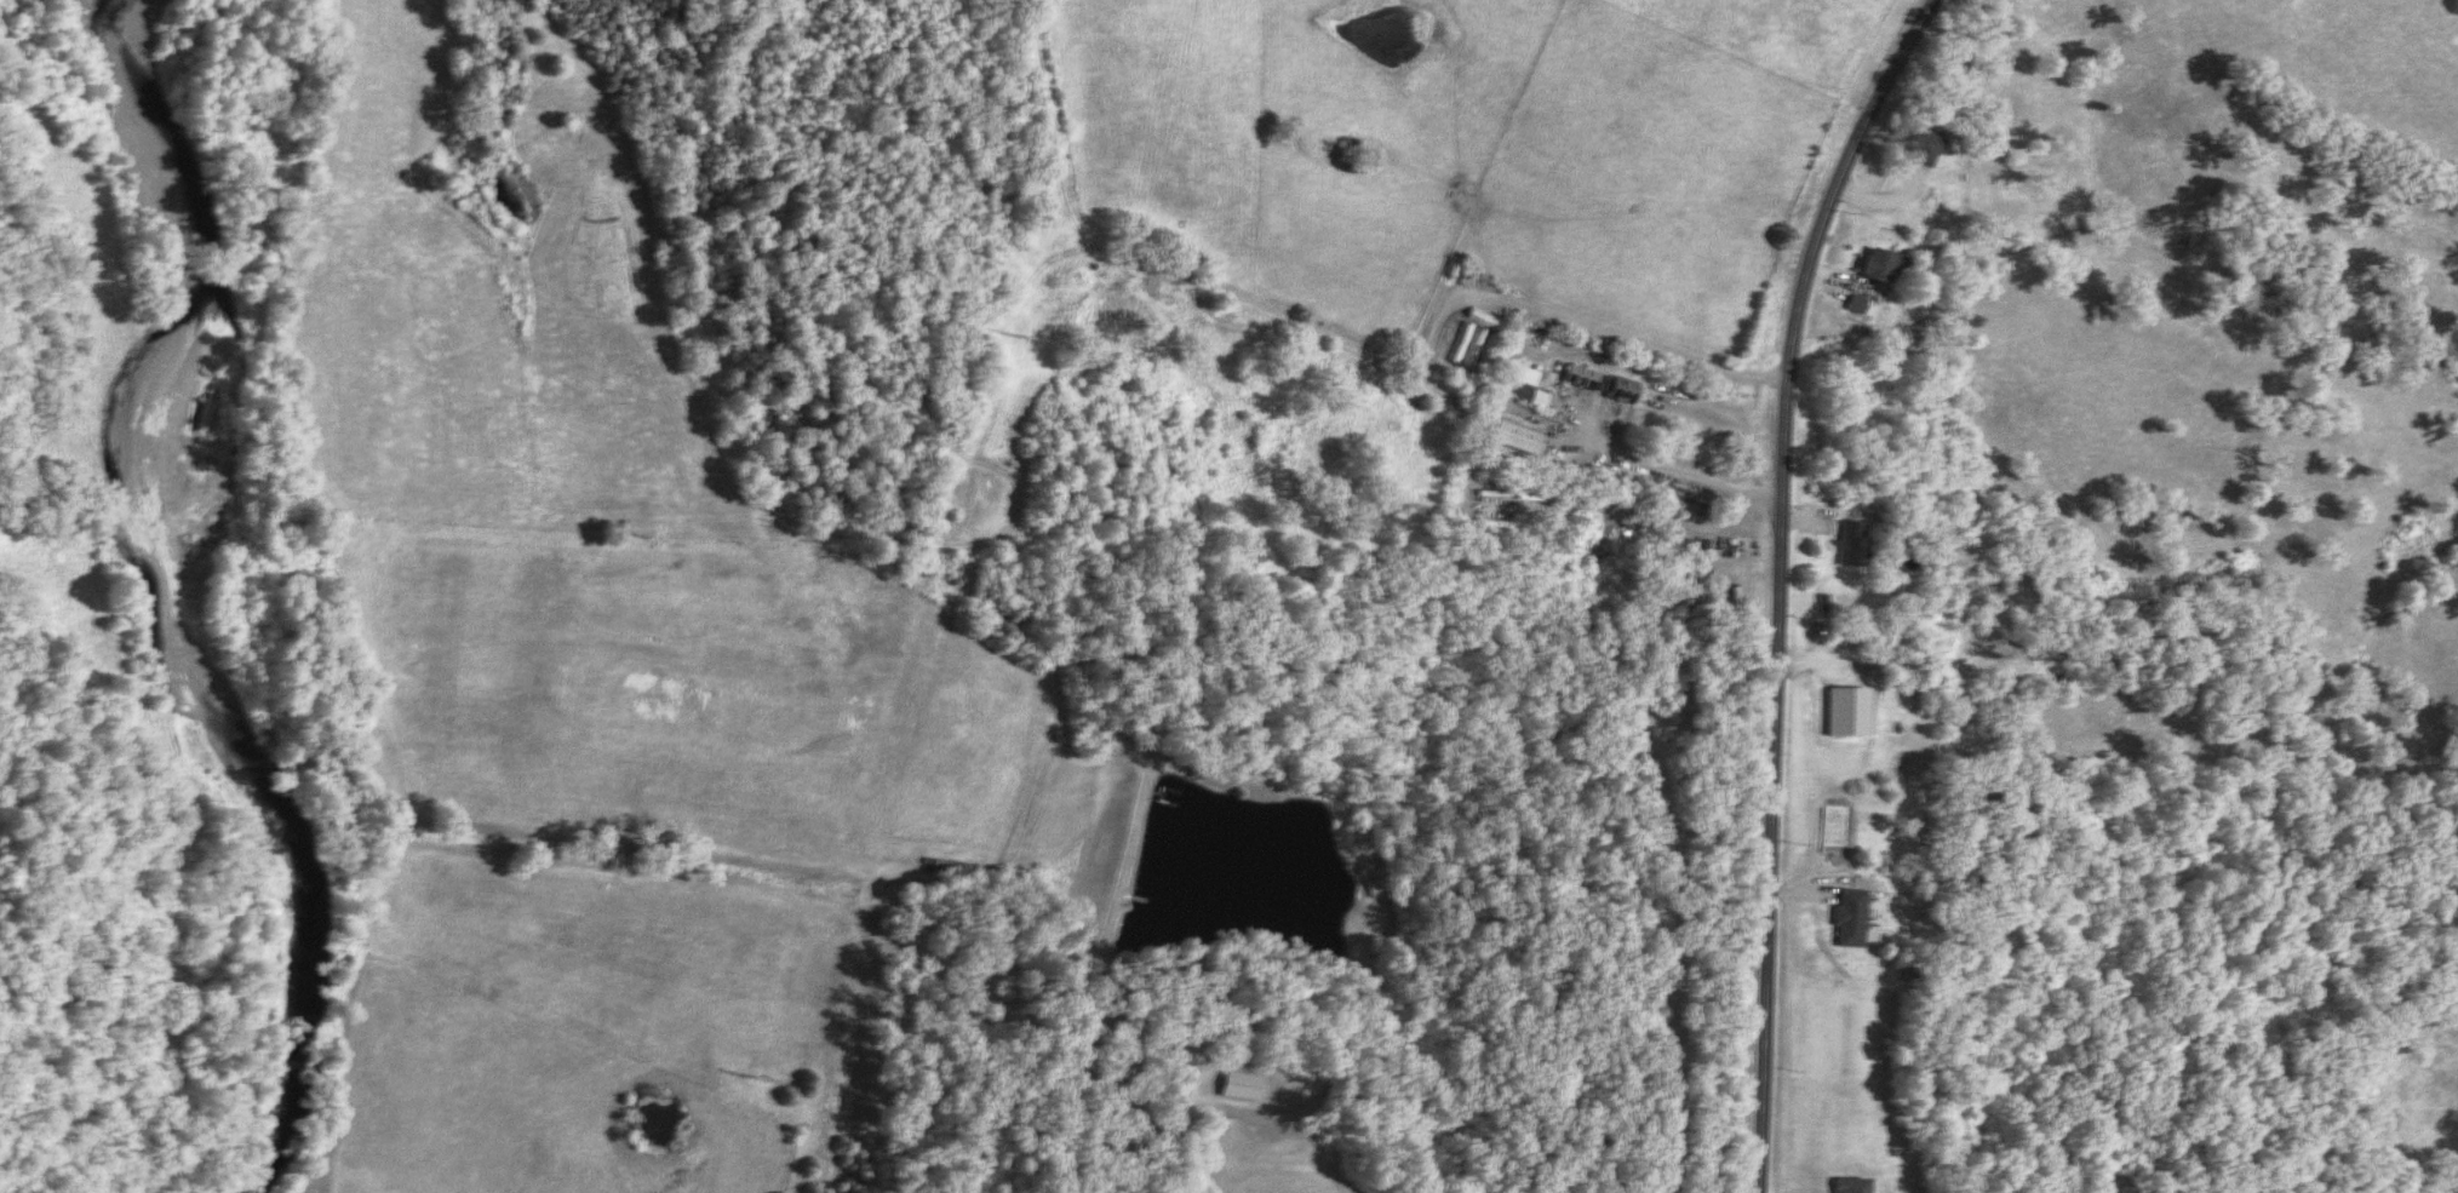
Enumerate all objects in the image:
building: (1925, 148)
building: (1879, 266)
power tower: (1033, 346)
building: (1582, 378)
building: (1626, 391)
building: (1524, 392)
road: (1671, 469)
building: (1852, 543)
road: (1775, 580)
building: (1852, 918)
power tower: (767, 1082)
building: (1234, 1085)
road: (1127, 1135)
building: (1851, 1185)

